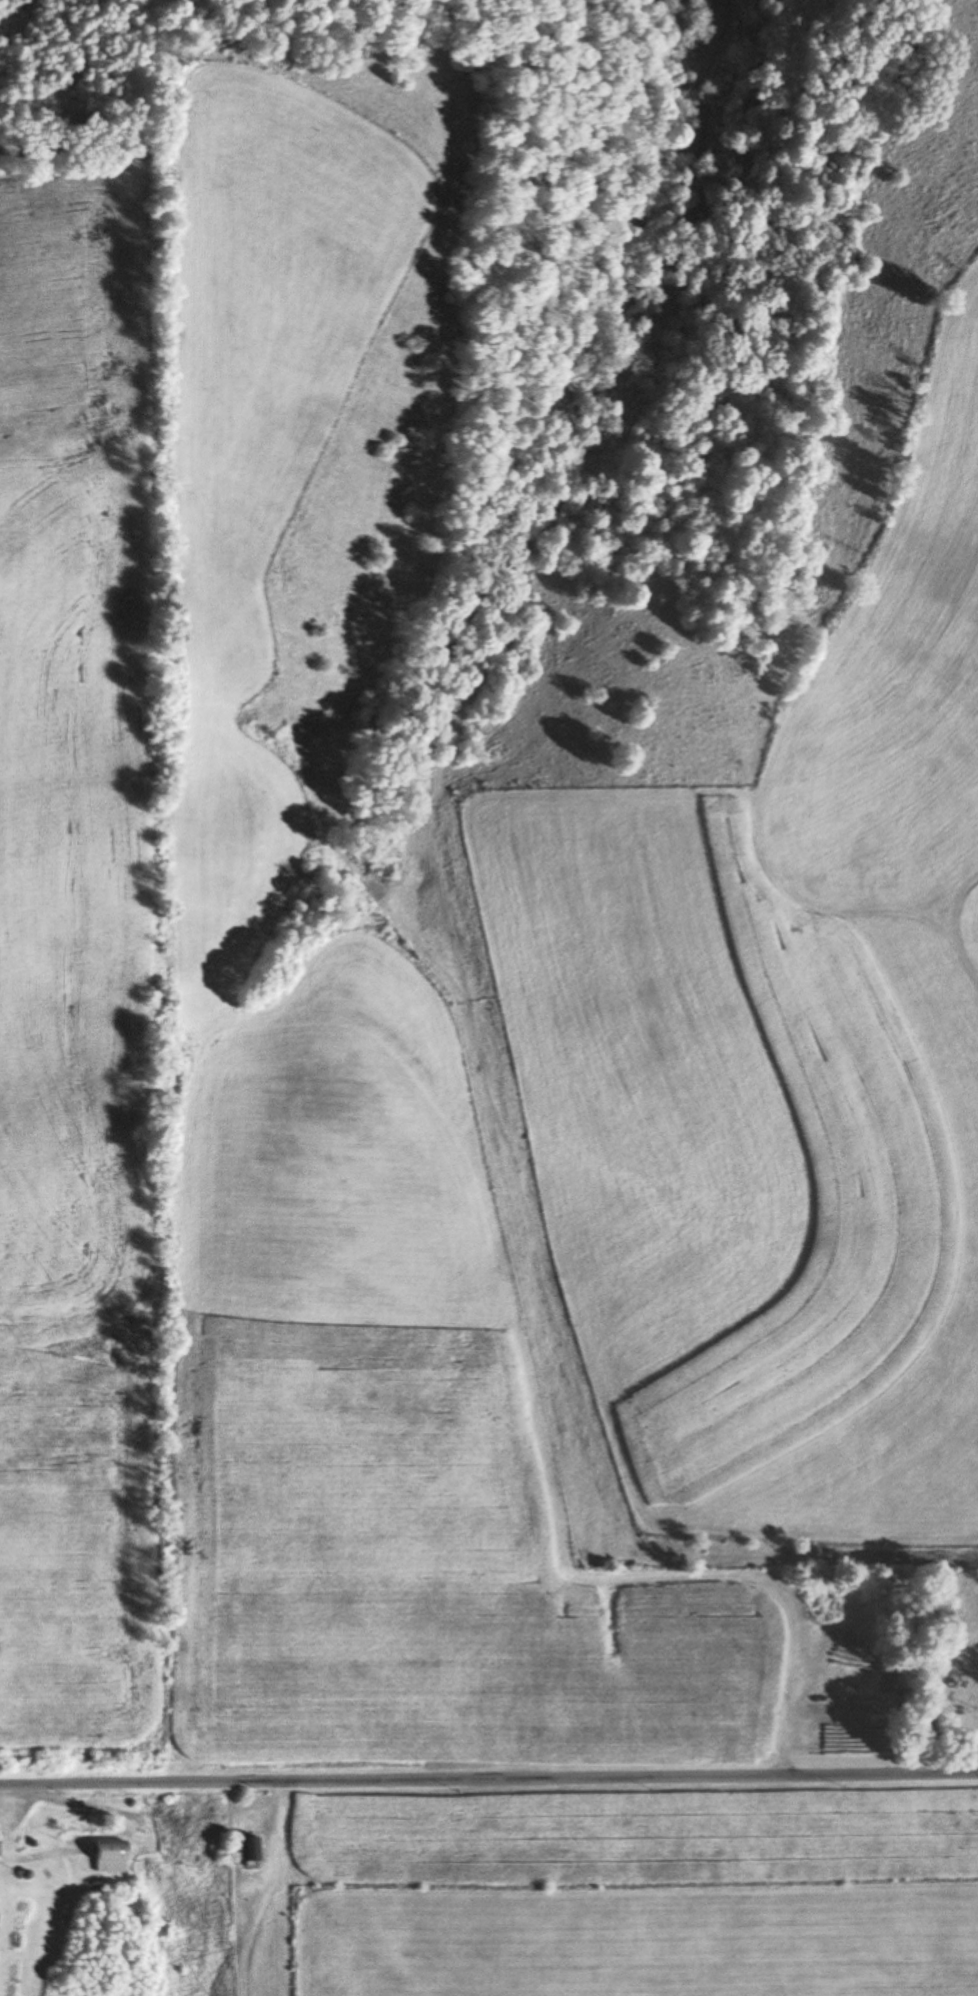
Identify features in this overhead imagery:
crop: (290, 458)
crop: (894, 681)
crop: (77, 733)
crop: (740, 1162)
crop: (368, 1276)
crop: (78, 1636)
crop: (469, 1675)
road: (489, 1778)
building: (247, 1848)
building: (107, 1856)
crop: (631, 1886)

